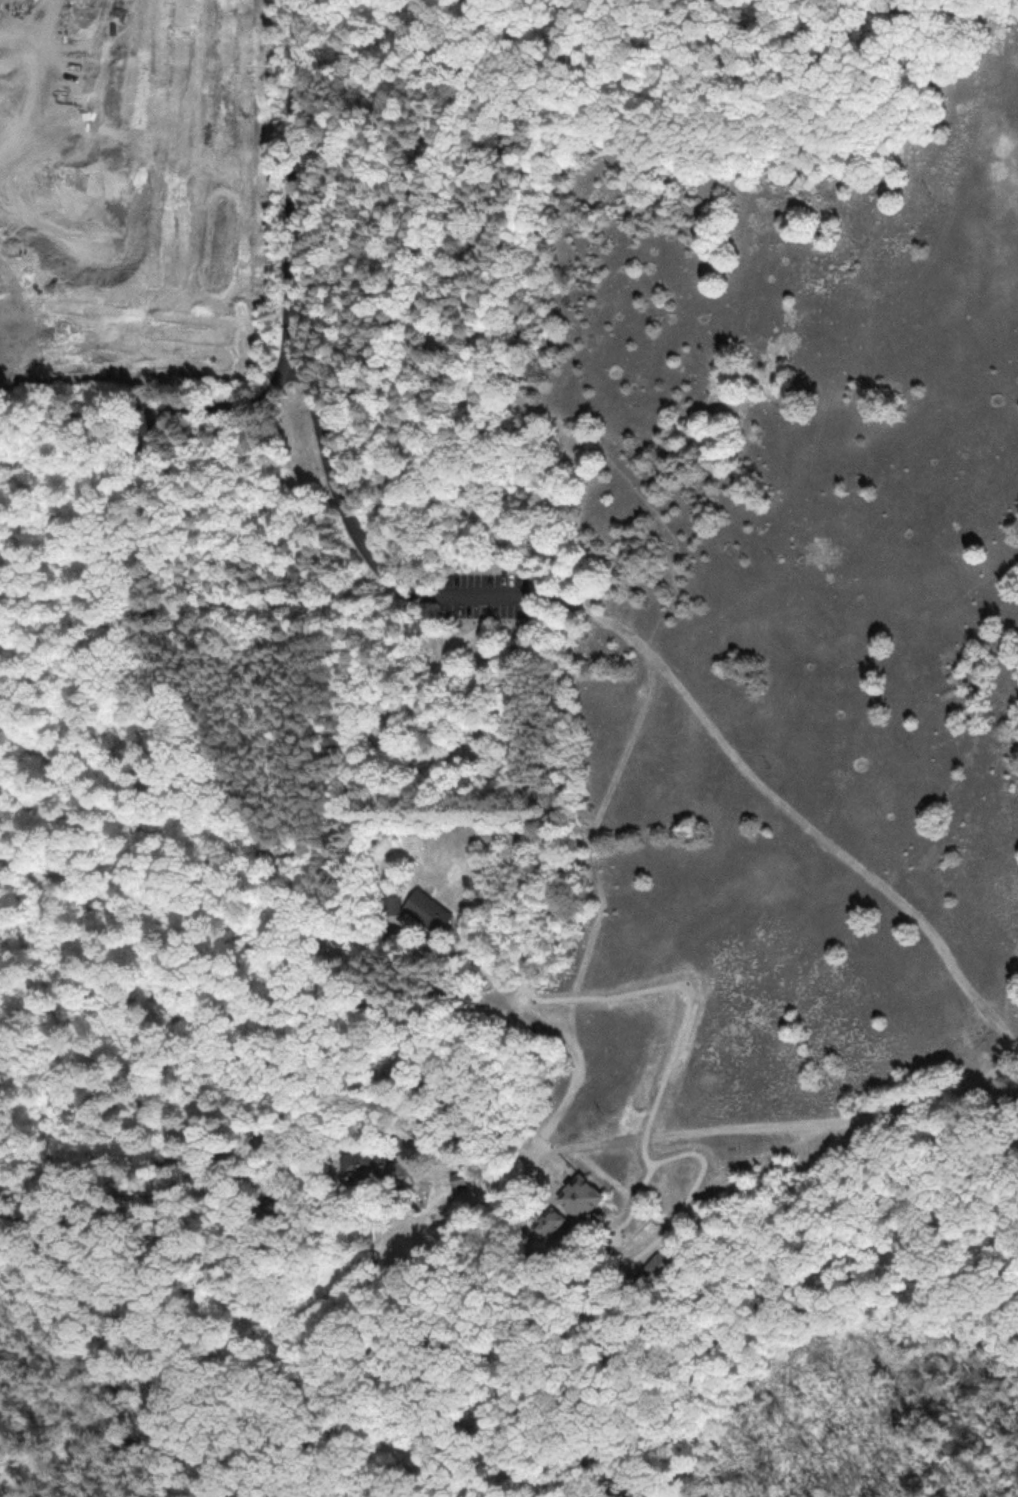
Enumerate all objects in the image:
quarry: (83, 149)
road: (305, 199)
road: (422, 273)
road: (120, 407)
road: (590, 454)
road: (355, 537)
parking lot: (479, 596)
road: (185, 674)
road: (789, 803)
road: (553, 900)
building: (390, 903)
building: (427, 910)
road: (1007, 980)
building: (1012, 1104)
road: (775, 1122)
road: (216, 1138)
road: (528, 1140)
road: (686, 1159)
road: (755, 1164)
building: (371, 1165)
building: (457, 1179)
building: (568, 1202)
building: (657, 1266)
road: (859, 1288)
road: (702, 1331)
building: (625, 1349)
road: (496, 1460)
road: (688, 1479)

